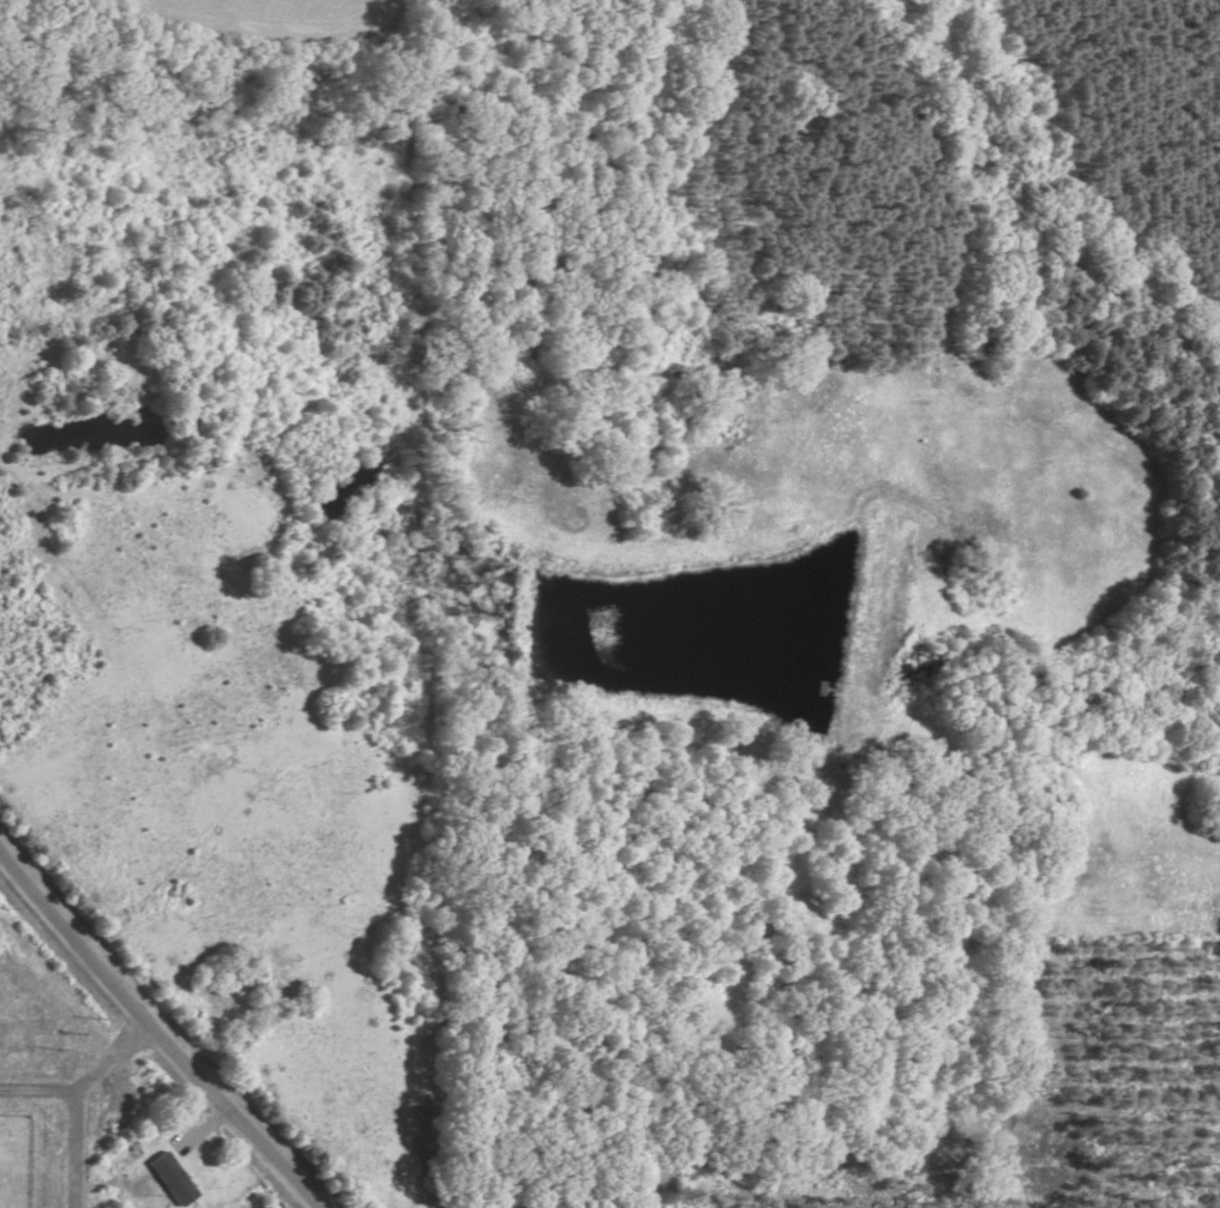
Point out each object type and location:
building: (245, 986)
road: (158, 1034)

